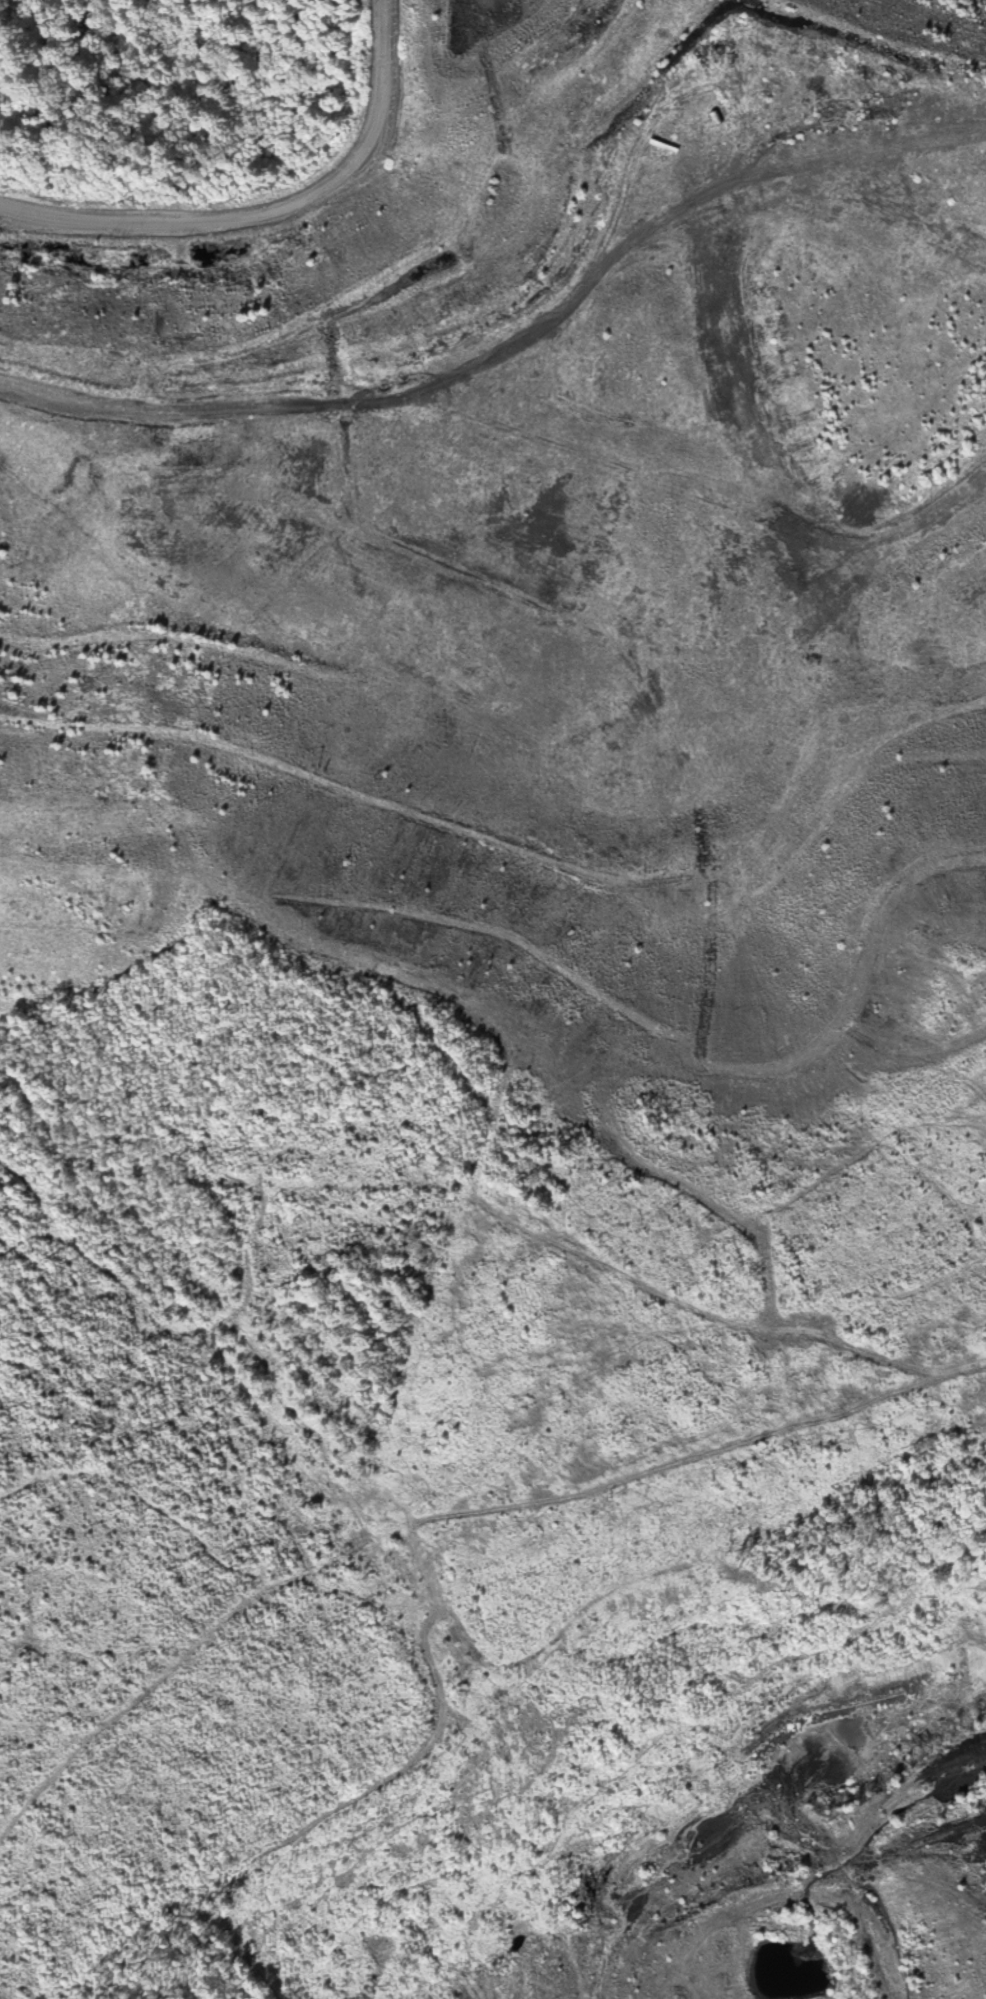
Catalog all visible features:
road: (391, 324)
road: (50, 343)
road: (820, 1909)

